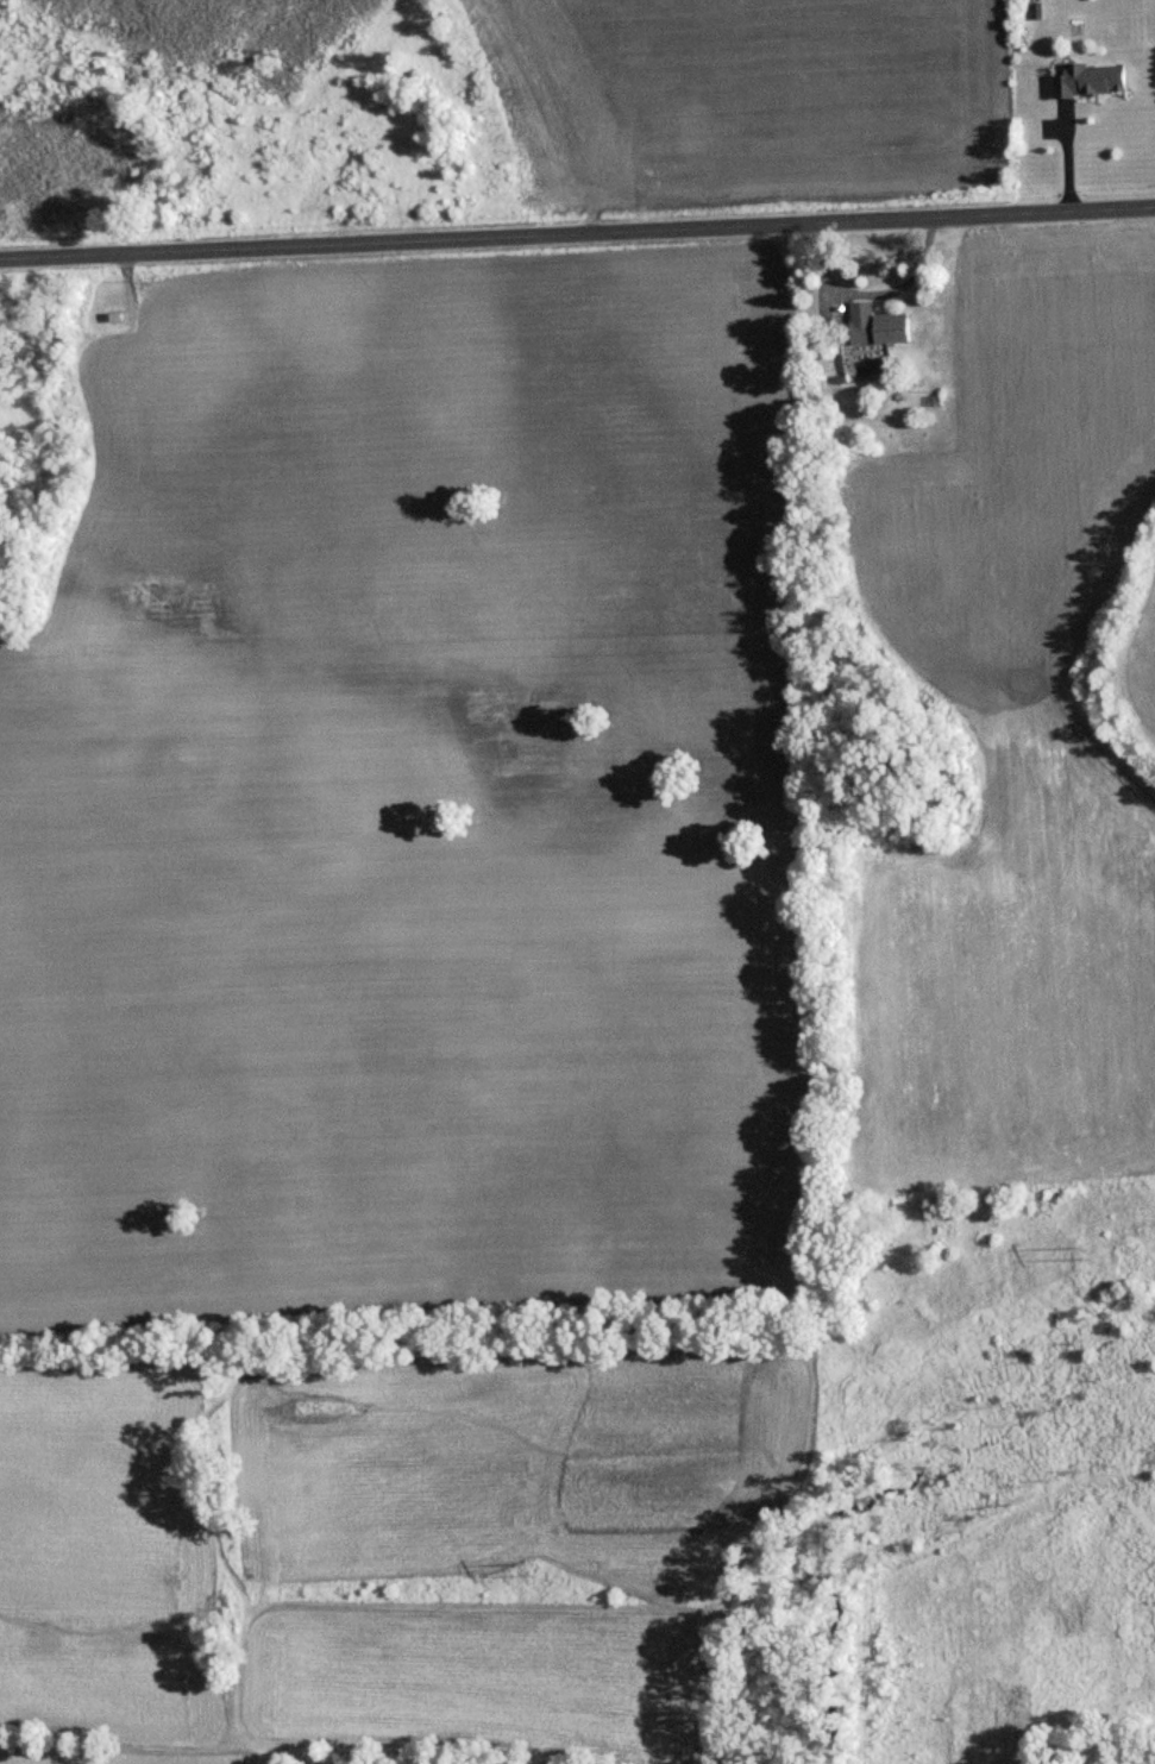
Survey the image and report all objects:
building: (1091, 80)
road: (577, 236)
building: (877, 324)
power tower: (1086, 1248)
power tower: (535, 1563)

